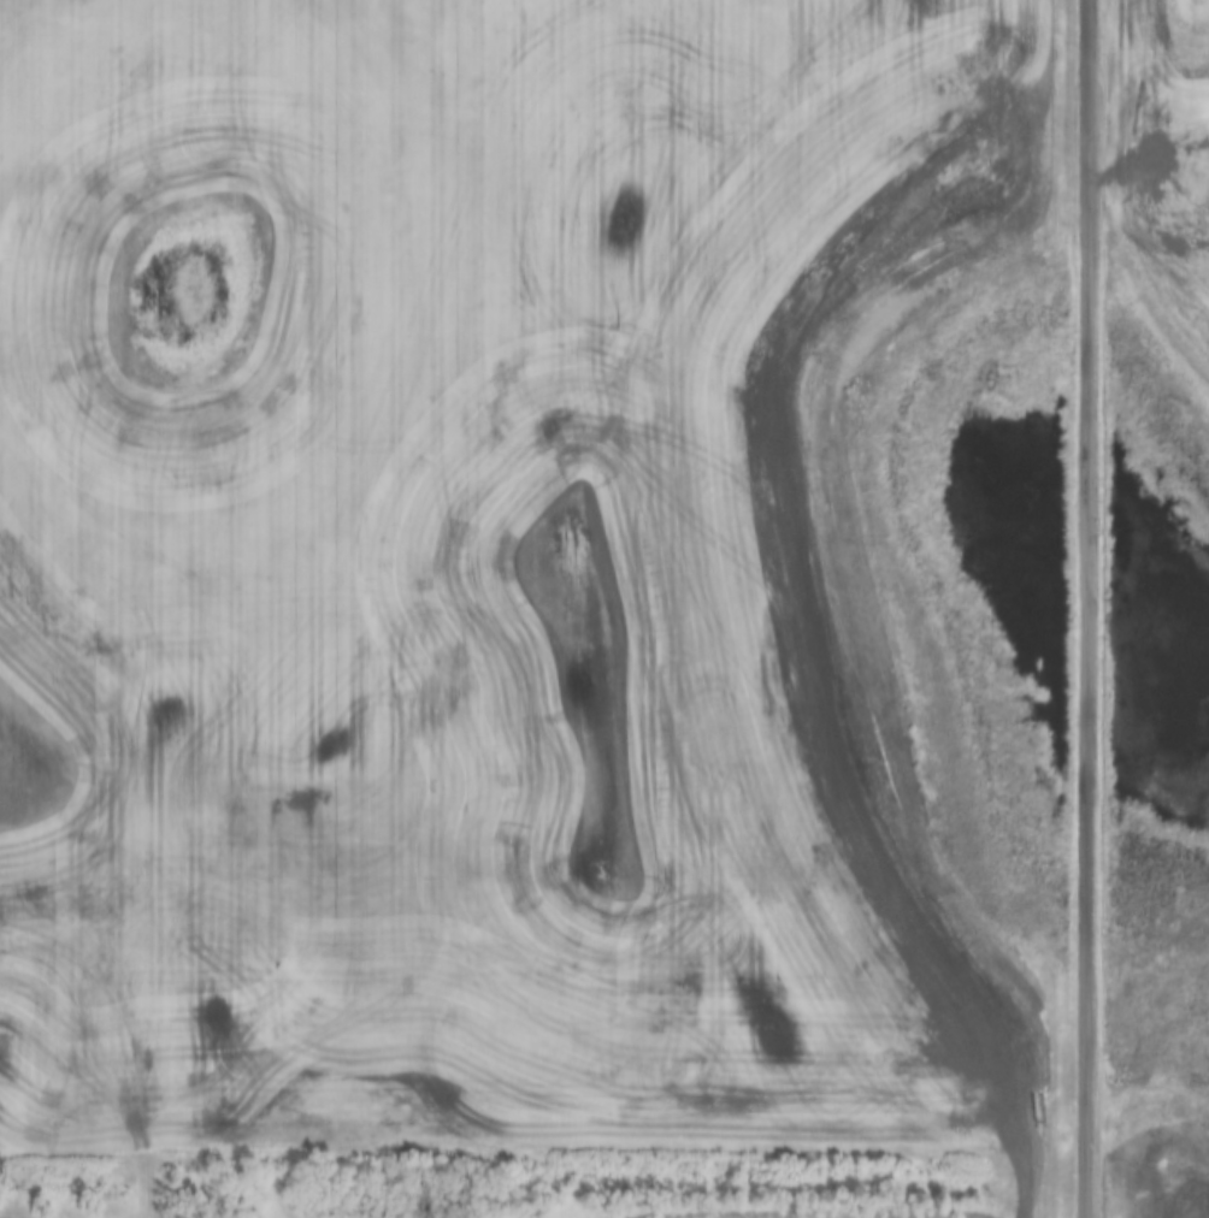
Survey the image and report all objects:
road: (1085, 609)

